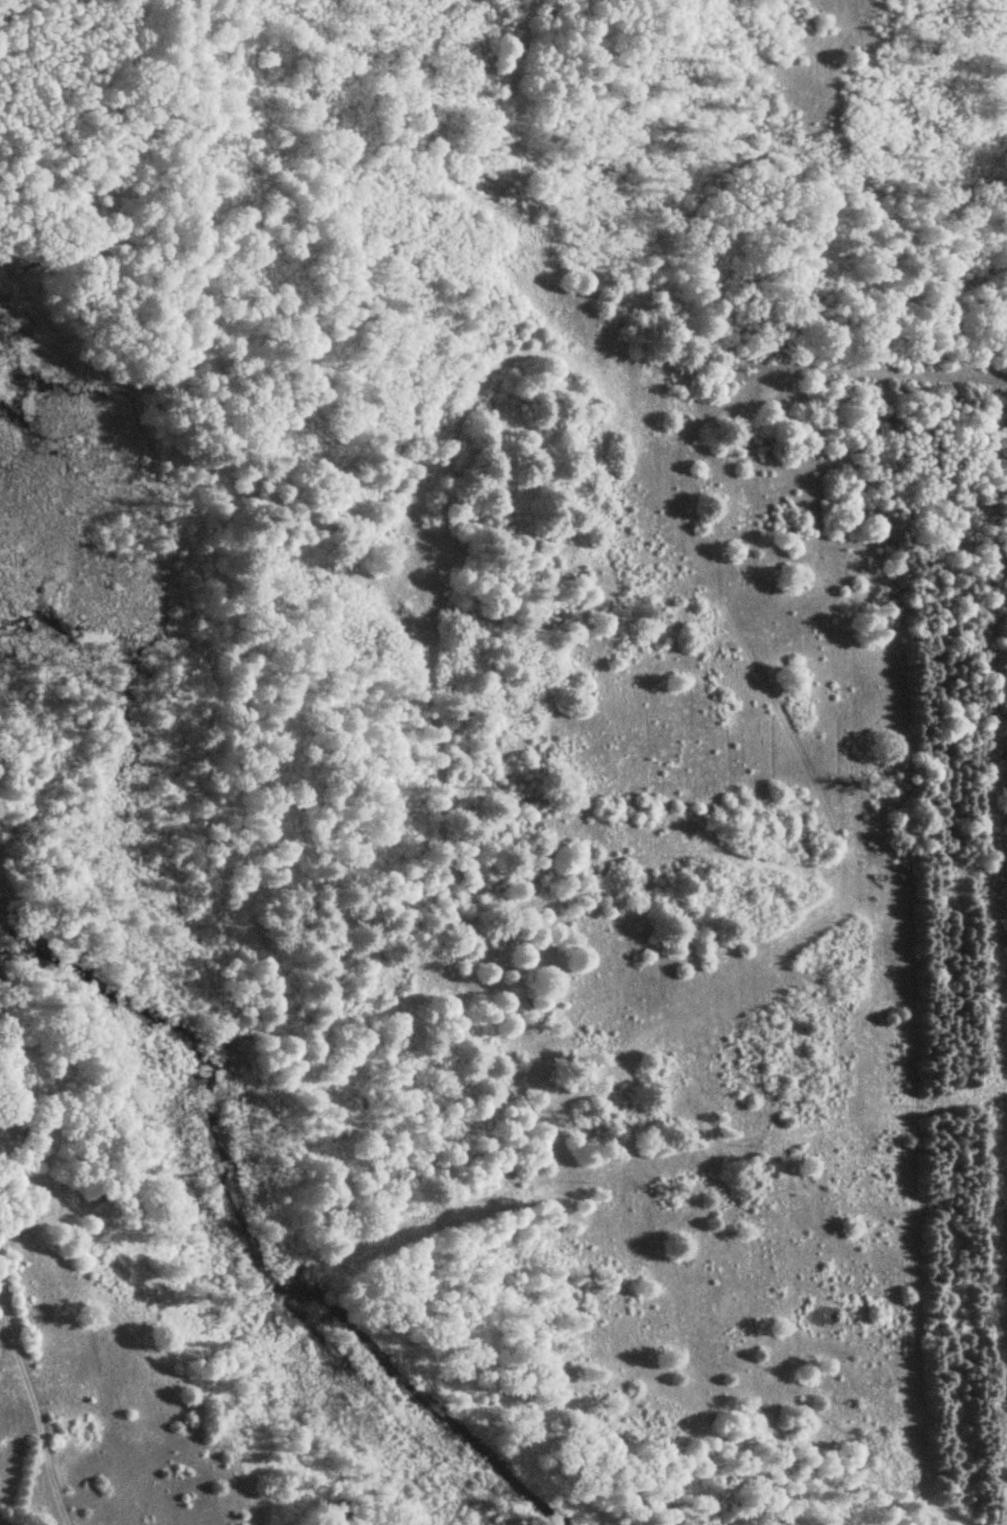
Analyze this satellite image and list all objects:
river: (247, 1241)

